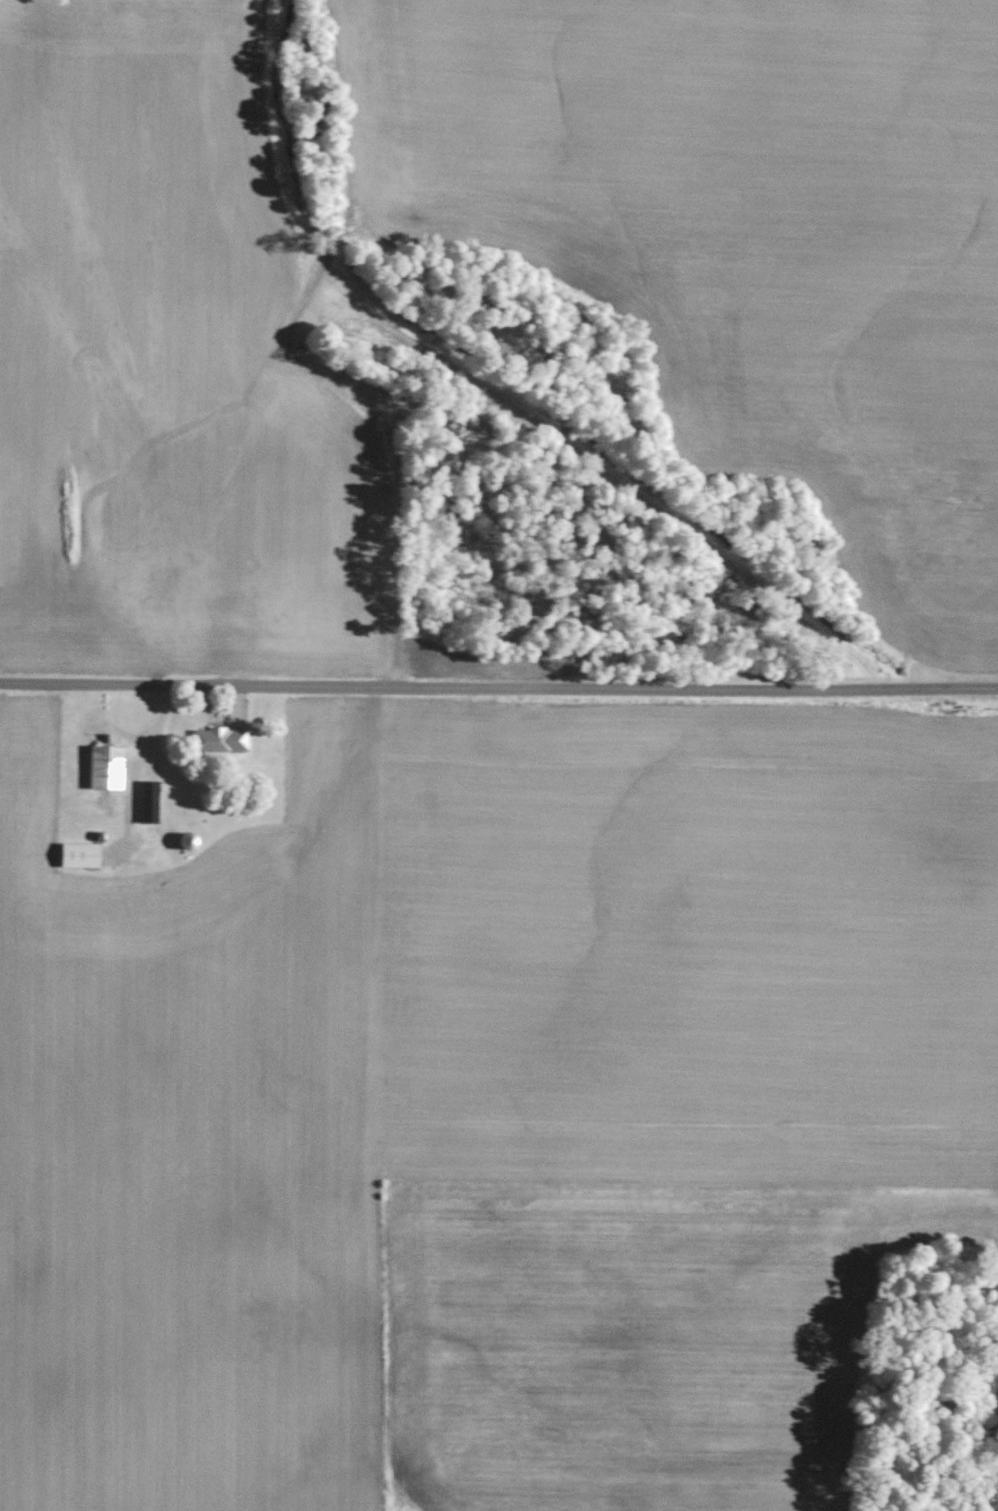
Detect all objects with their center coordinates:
road: (498, 688)
building: (216, 740)
building: (107, 767)
building: (149, 802)
building: (79, 855)

